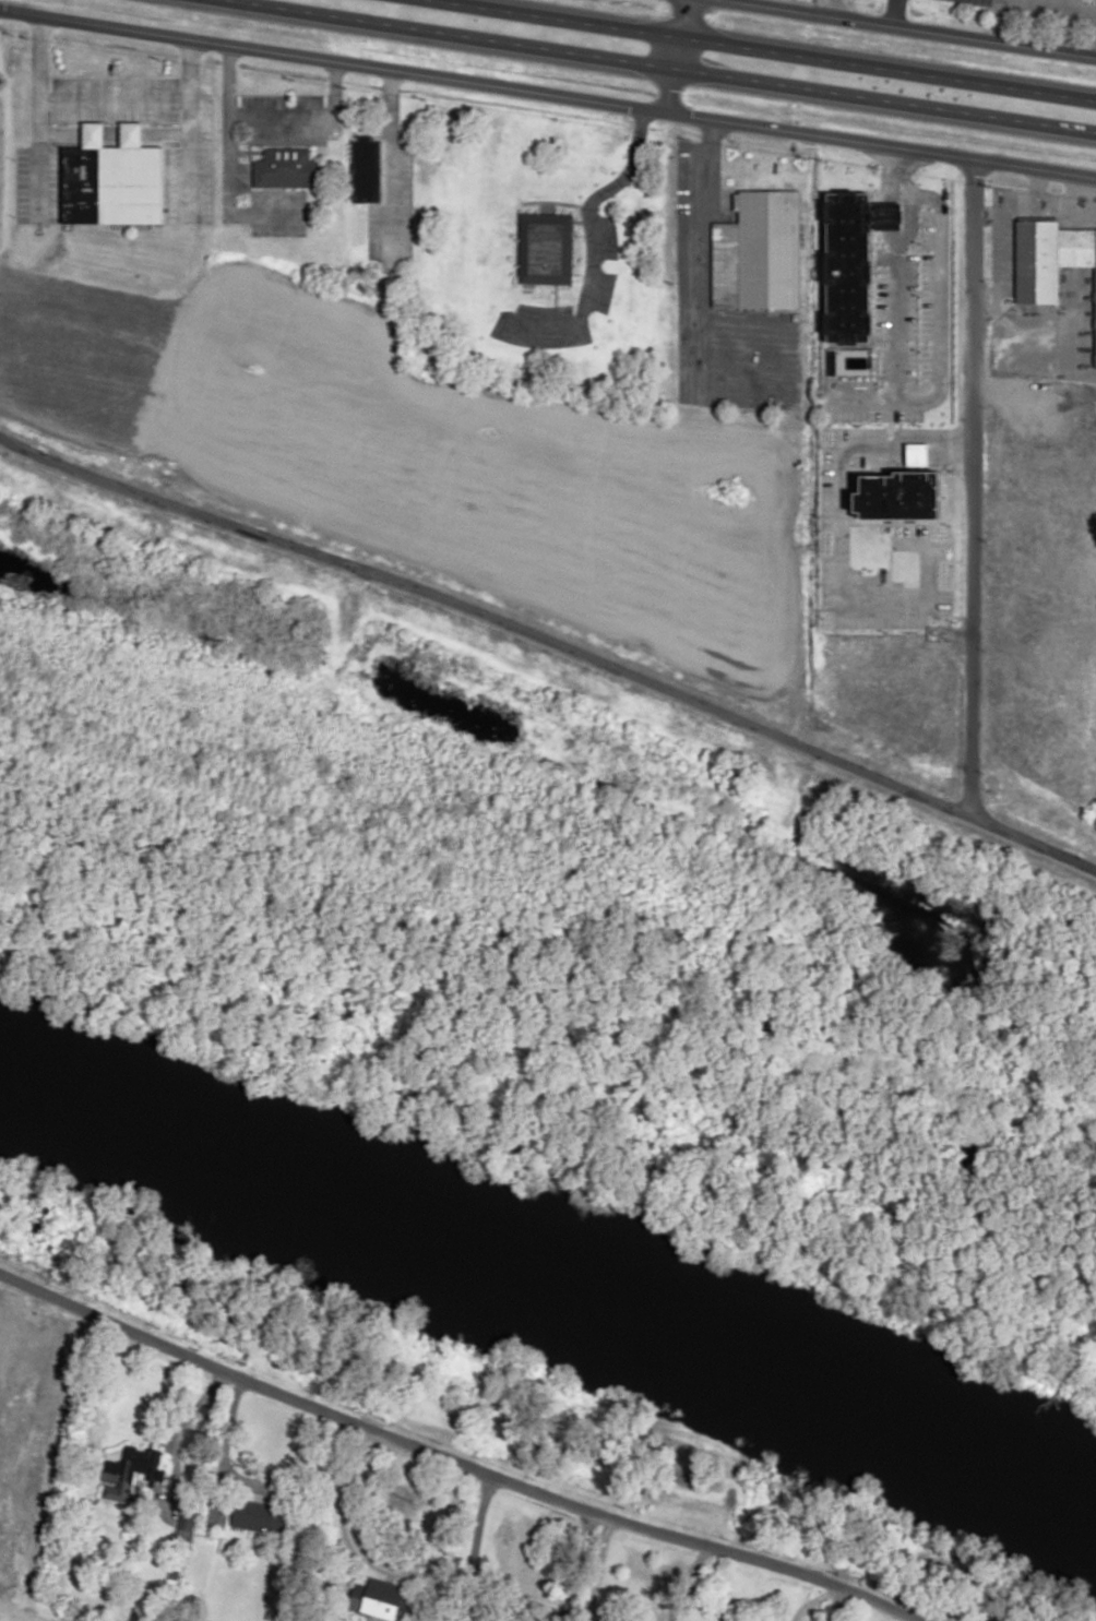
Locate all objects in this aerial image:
road: (1079, 2)
road: (894, 12)
road: (914, 28)
road: (766, 49)
road: (675, 55)
road: (665, 67)
road: (547, 93)
road: (99, 103)
road: (271, 117)
building: (285, 167)
building: (365, 169)
building: (111, 178)
road: (583, 230)
building: (544, 247)
building: (758, 253)
building: (1050, 260)
building: (851, 262)
crop: (433, 462)
road: (968, 490)
building: (901, 497)
road: (552, 644)
river: (543, 1278)
road: (182, 1441)
road: (453, 1459)
building: (132, 1471)
building: (260, 1517)
road: (577, 1566)
building: (380, 1600)
road: (810, 1601)
road: (835, 1602)
crop: (7, 1618)

